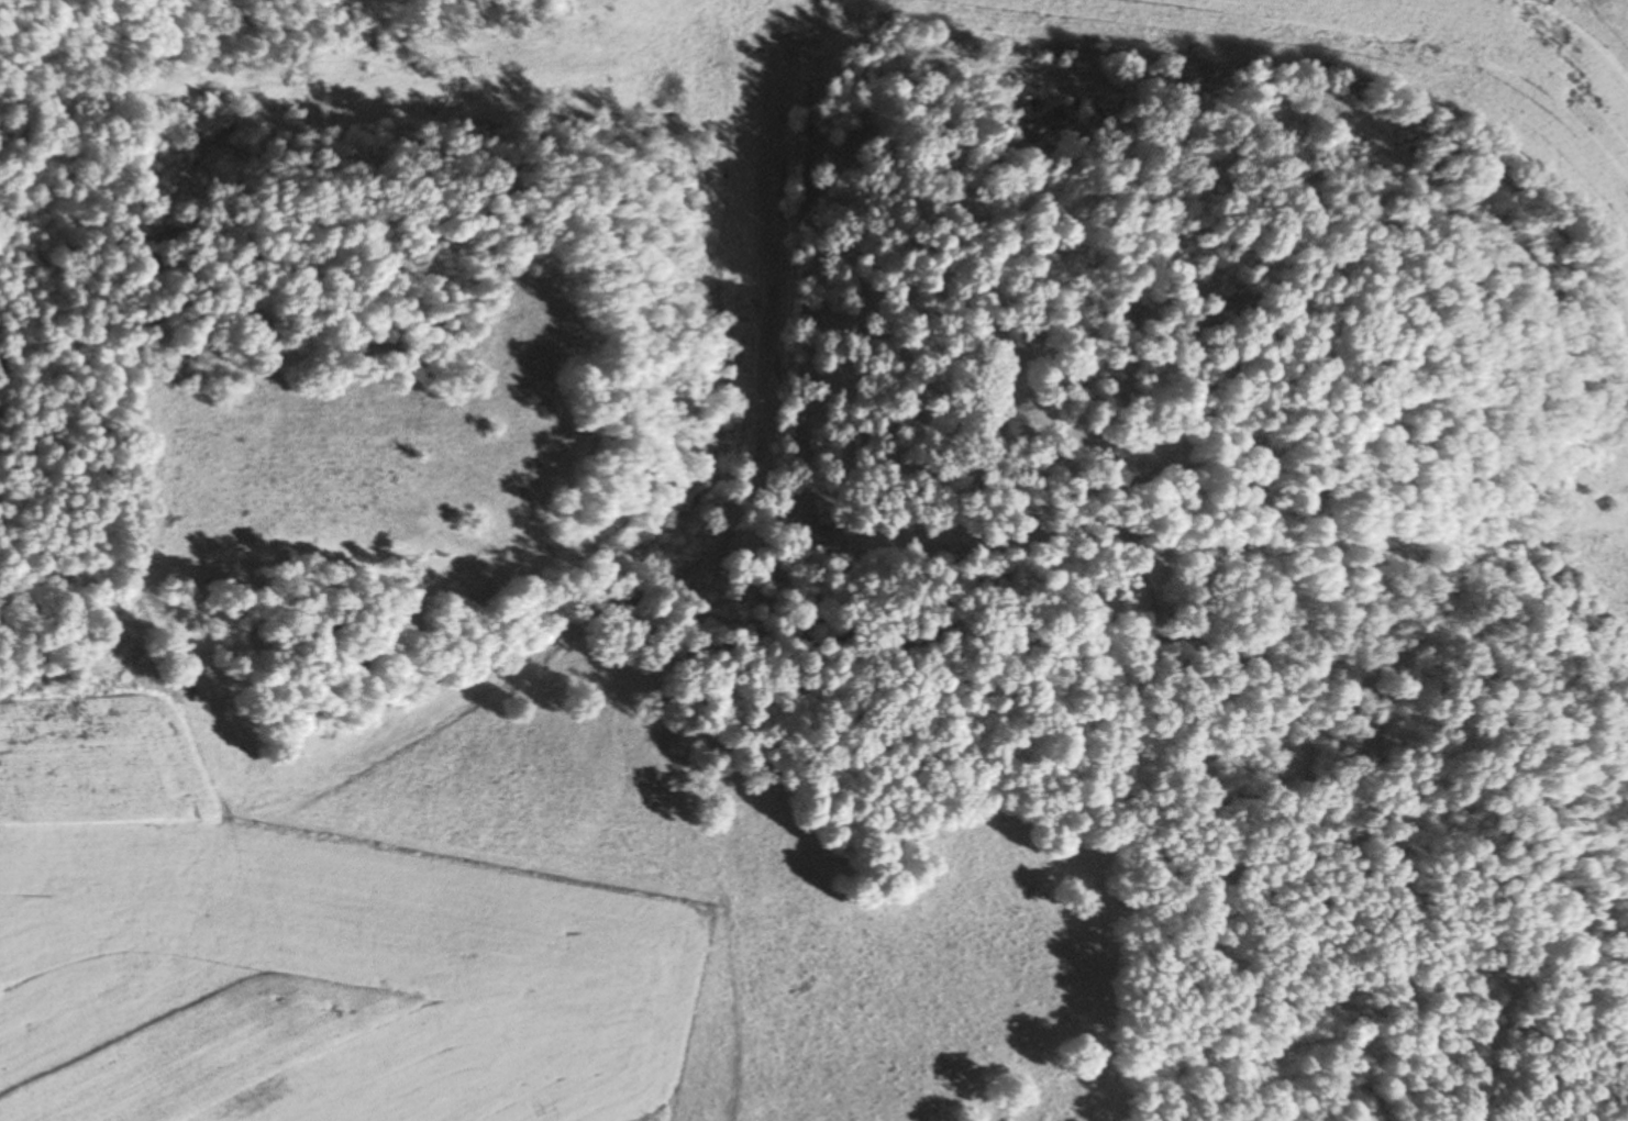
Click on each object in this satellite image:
crop: (1333, 64)
crop: (275, 881)
crop: (340, 1051)

